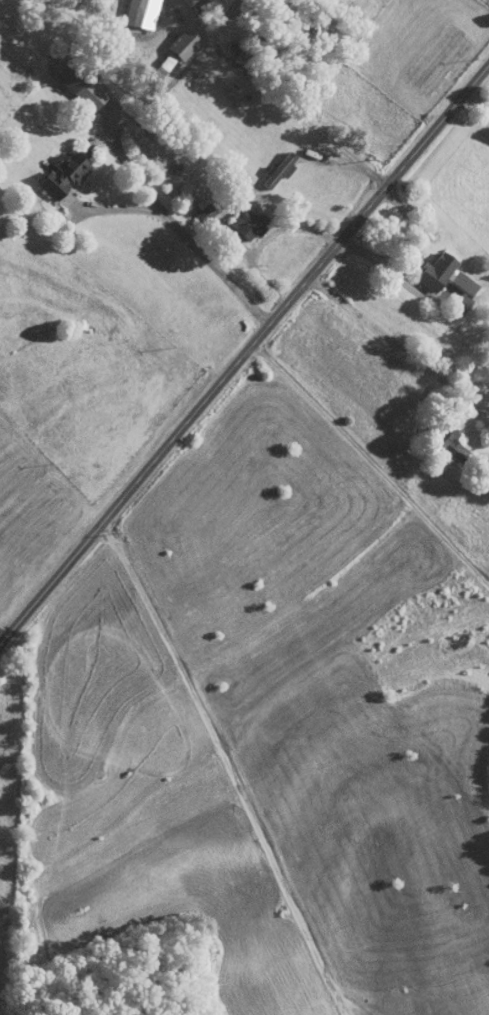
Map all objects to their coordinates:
building: (140, 12)
building: (175, 49)
building: (76, 83)
road: (480, 93)
road: (150, 102)
road: (276, 102)
road: (477, 108)
road: (127, 162)
road: (351, 165)
building: (279, 169)
building: (61, 173)
building: (247, 224)
road: (187, 239)
road: (266, 241)
road: (410, 255)
building: (443, 274)
road: (392, 343)
road: (242, 358)
building: (447, 441)
road: (373, 462)
road: (225, 769)
road: (354, 1000)

